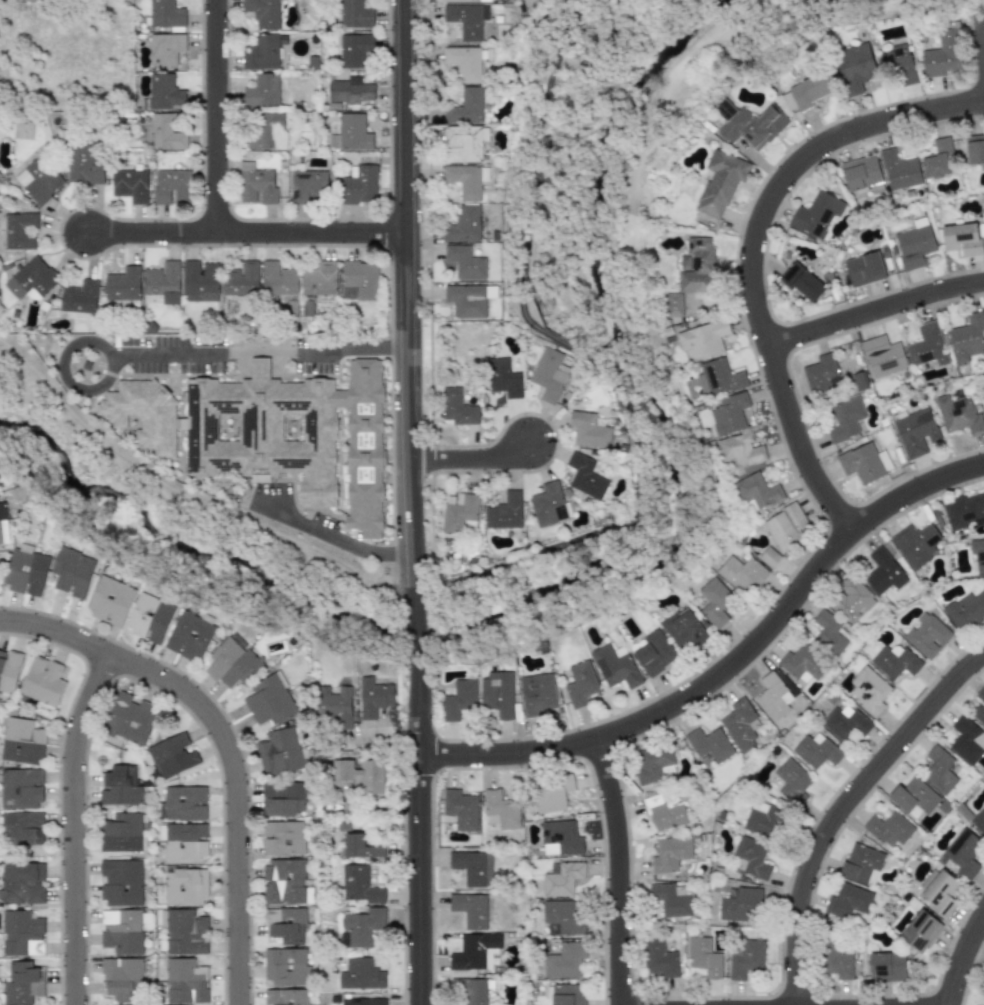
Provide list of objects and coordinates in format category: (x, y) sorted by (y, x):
building: (464, 0)
building: (262, 13)
building: (165, 14)
building: (354, 14)
building: (466, 20)
building: (165, 49)
building: (354, 50)
building: (260, 52)
building: (941, 55)
building: (463, 62)
building: (899, 64)
building: (854, 68)
building: (262, 90)
building: (348, 90)
building: (810, 90)
building: (162, 93)
building: (465, 108)
road: (217, 117)
building: (749, 124)
building: (262, 129)
building: (166, 133)
building: (350, 133)
building: (465, 140)
building: (974, 148)
building: (937, 159)
building: (82, 165)
building: (899, 170)
building: (860, 172)
building: (38, 180)
building: (463, 181)
building: (720, 182)
building: (255, 184)
building: (129, 185)
building: (307, 185)
building: (359, 185)
building: (171, 186)
building: (816, 214)
building: (462, 225)
building: (17, 231)
road: (247, 233)
building: (961, 239)
building: (914, 245)
road: (751, 251)
building: (464, 262)
building: (696, 266)
building: (863, 269)
building: (318, 278)
building: (30, 279)
building: (240, 279)
building: (276, 279)
building: (358, 280)
building: (199, 281)
building: (162, 282)
building: (802, 283)
building: (122, 284)
building: (78, 297)
building: (465, 301)
building: (673, 304)
road: (406, 305)
road: (875, 310)
building: (966, 338)
building: (701, 340)
building: (927, 346)
road: (68, 348)
road: (586, 355)
road: (259, 356)
building: (882, 356)
building: (820, 373)
building: (547, 375)
building: (502, 378)
building: (717, 378)
building: (456, 407)
building: (729, 413)
building: (958, 415)
building: (844, 419)
building: (209, 426)
building: (588, 431)
building: (915, 432)
building: (307, 442)
building: (740, 452)
road: (474, 461)
building: (864, 463)
building: (584, 476)
building: (755, 491)
building: (547, 504)
building: (2, 511)
building: (457, 511)
building: (964, 511)
building: (504, 512)
building: (786, 527)
building: (0, 536)
road: (337, 539)
building: (915, 544)
building: (977, 555)
building: (768, 557)
building: (25, 570)
building: (72, 573)
building: (742, 573)
building: (883, 573)
building: (851, 600)
building: (110, 601)
building: (714, 601)
building: (965, 611)
building: (149, 617)
building: (683, 628)
building: (828, 633)
building: (927, 635)
building: (189, 636)
road: (418, 636)
building: (654, 653)
building: (894, 661)
building: (231, 663)
building: (801, 665)
road: (729, 666)
building: (614, 667)
building: (8, 670)
building: (42, 681)
building: (580, 683)
building: (868, 690)
building: (497, 694)
building: (537, 694)
building: (373, 697)
building: (773, 697)
building: (459, 699)
building: (270, 700)
building: (335, 706)
building: (130, 718)
building: (845, 722)
building: (740, 725)
building: (966, 740)
building: (21, 741)
road: (225, 742)
building: (709, 744)
building: (816, 750)
building: (279, 751)
building: (173, 755)
building: (651, 763)
building: (939, 770)
building: (359, 776)
building: (792, 781)
building: (118, 786)
building: (20, 788)
building: (552, 793)
building: (913, 796)
building: (282, 798)
building: (183, 803)
road: (841, 807)
building: (460, 809)
building: (498, 811)
building: (664, 814)
building: (763, 820)
building: (979, 820)
road: (73, 827)
building: (22, 828)
building: (889, 828)
building: (120, 833)
road: (420, 833)
building: (283, 838)
building: (560, 838)
building: (185, 843)
building: (363, 846)
building: (670, 853)
building: (962, 853)
building: (752, 857)
building: (862, 864)
building: (473, 867)
road: (617, 873)
building: (562, 878)
building: (283, 881)
building: (121, 882)
building: (22, 883)
building: (359, 884)
building: (185, 887)
building: (940, 890)
building: (672, 900)
building: (848, 901)
building: (740, 904)
building: (470, 910)
building: (562, 917)
building: (284, 925)
building: (362, 926)
building: (122, 931)
building: (920, 931)
building: (185, 932)
building: (21, 934)
building: (475, 952)
building: (705, 957)
building: (659, 958)
building: (745, 958)
road: (960, 959)
building: (835, 960)
building: (566, 961)
building: (284, 966)
building: (886, 967)
building: (360, 974)
building: (184, 982)
building: (22, 983)
building: (983, 984)
building: (470, 991)
building: (566, 994)
building: (284, 997)
building: (362, 1001)

